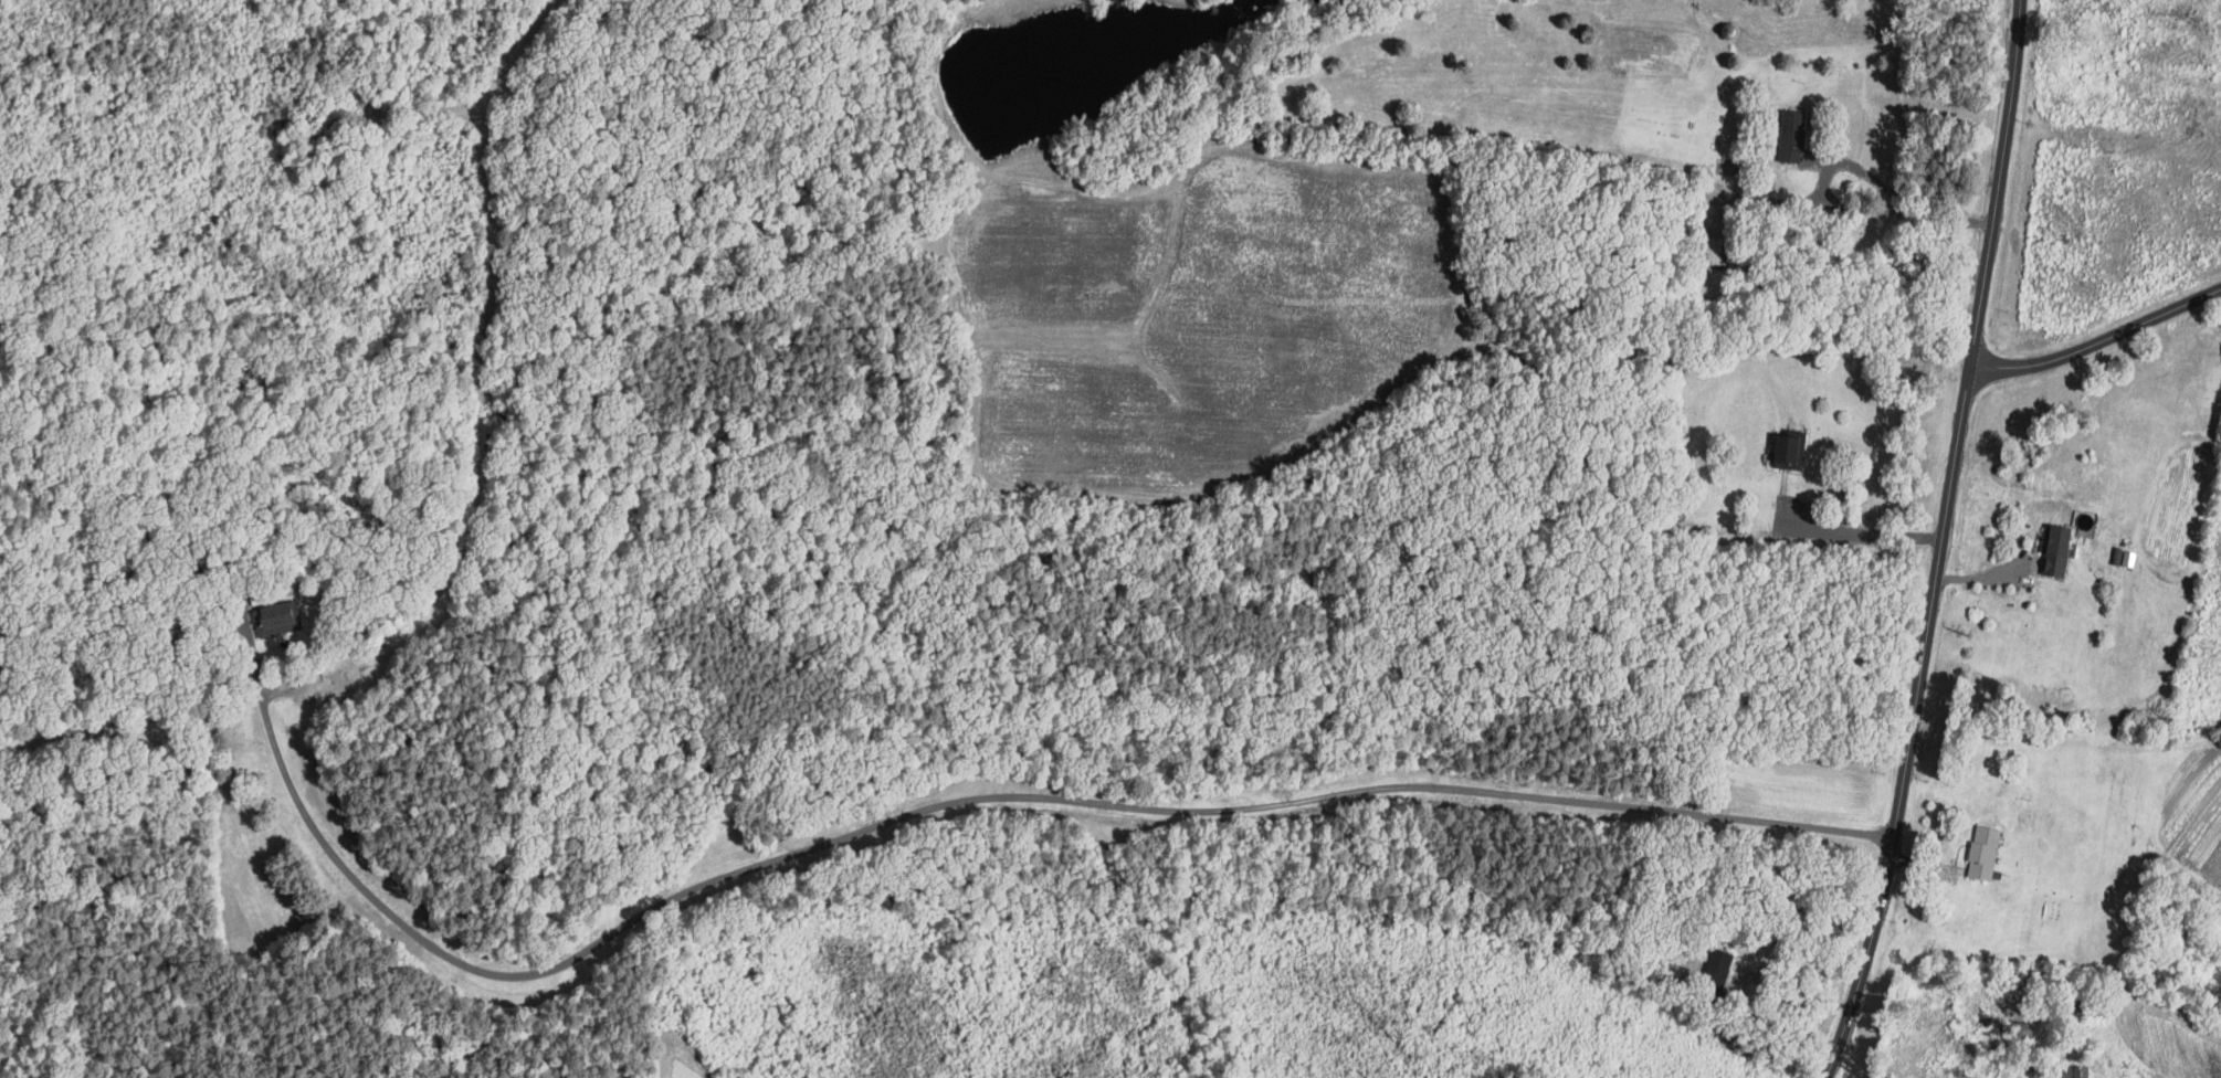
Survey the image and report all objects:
building: (1794, 137)
road: (1830, 200)
road: (2099, 340)
building: (1789, 450)
road: (1866, 532)
road: (1940, 543)
building: (2060, 547)
building: (276, 619)
road: (948, 805)
building: (1987, 850)
road: (1786, 1026)

